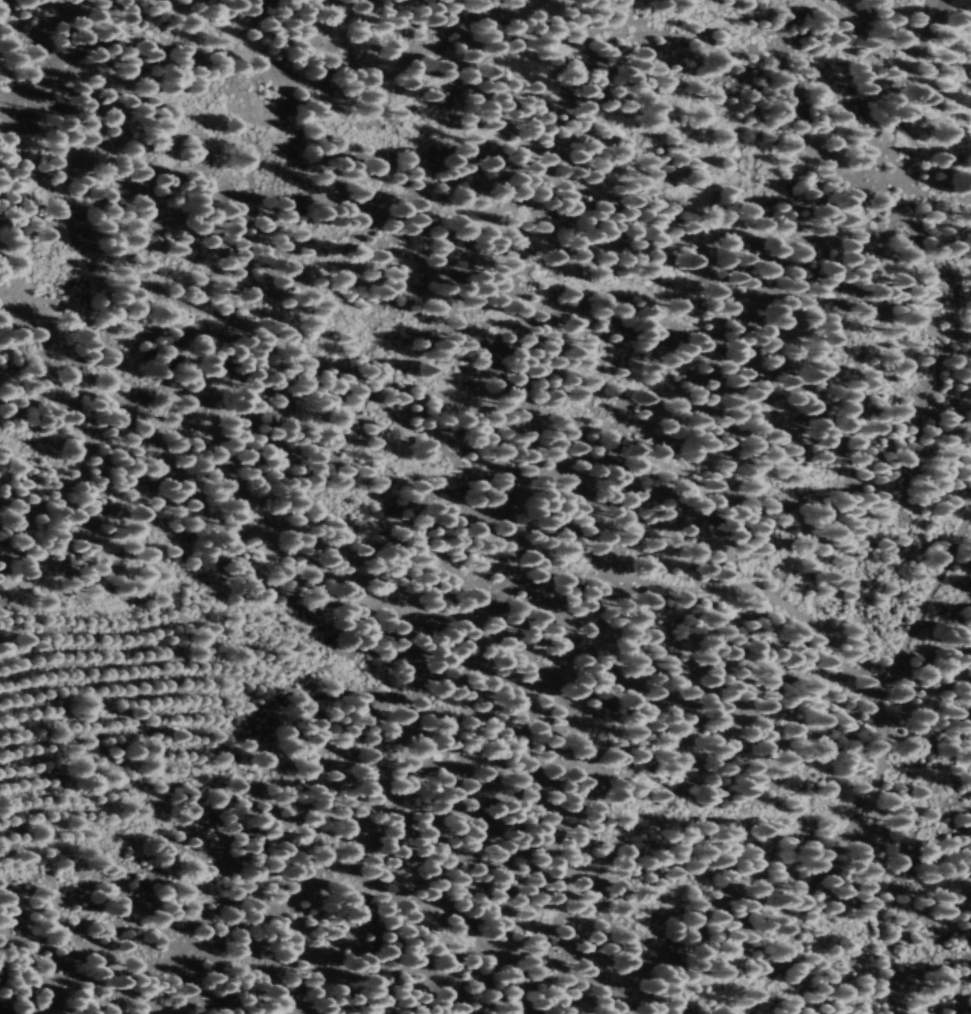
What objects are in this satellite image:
road: (890, 58)
road: (917, 824)

